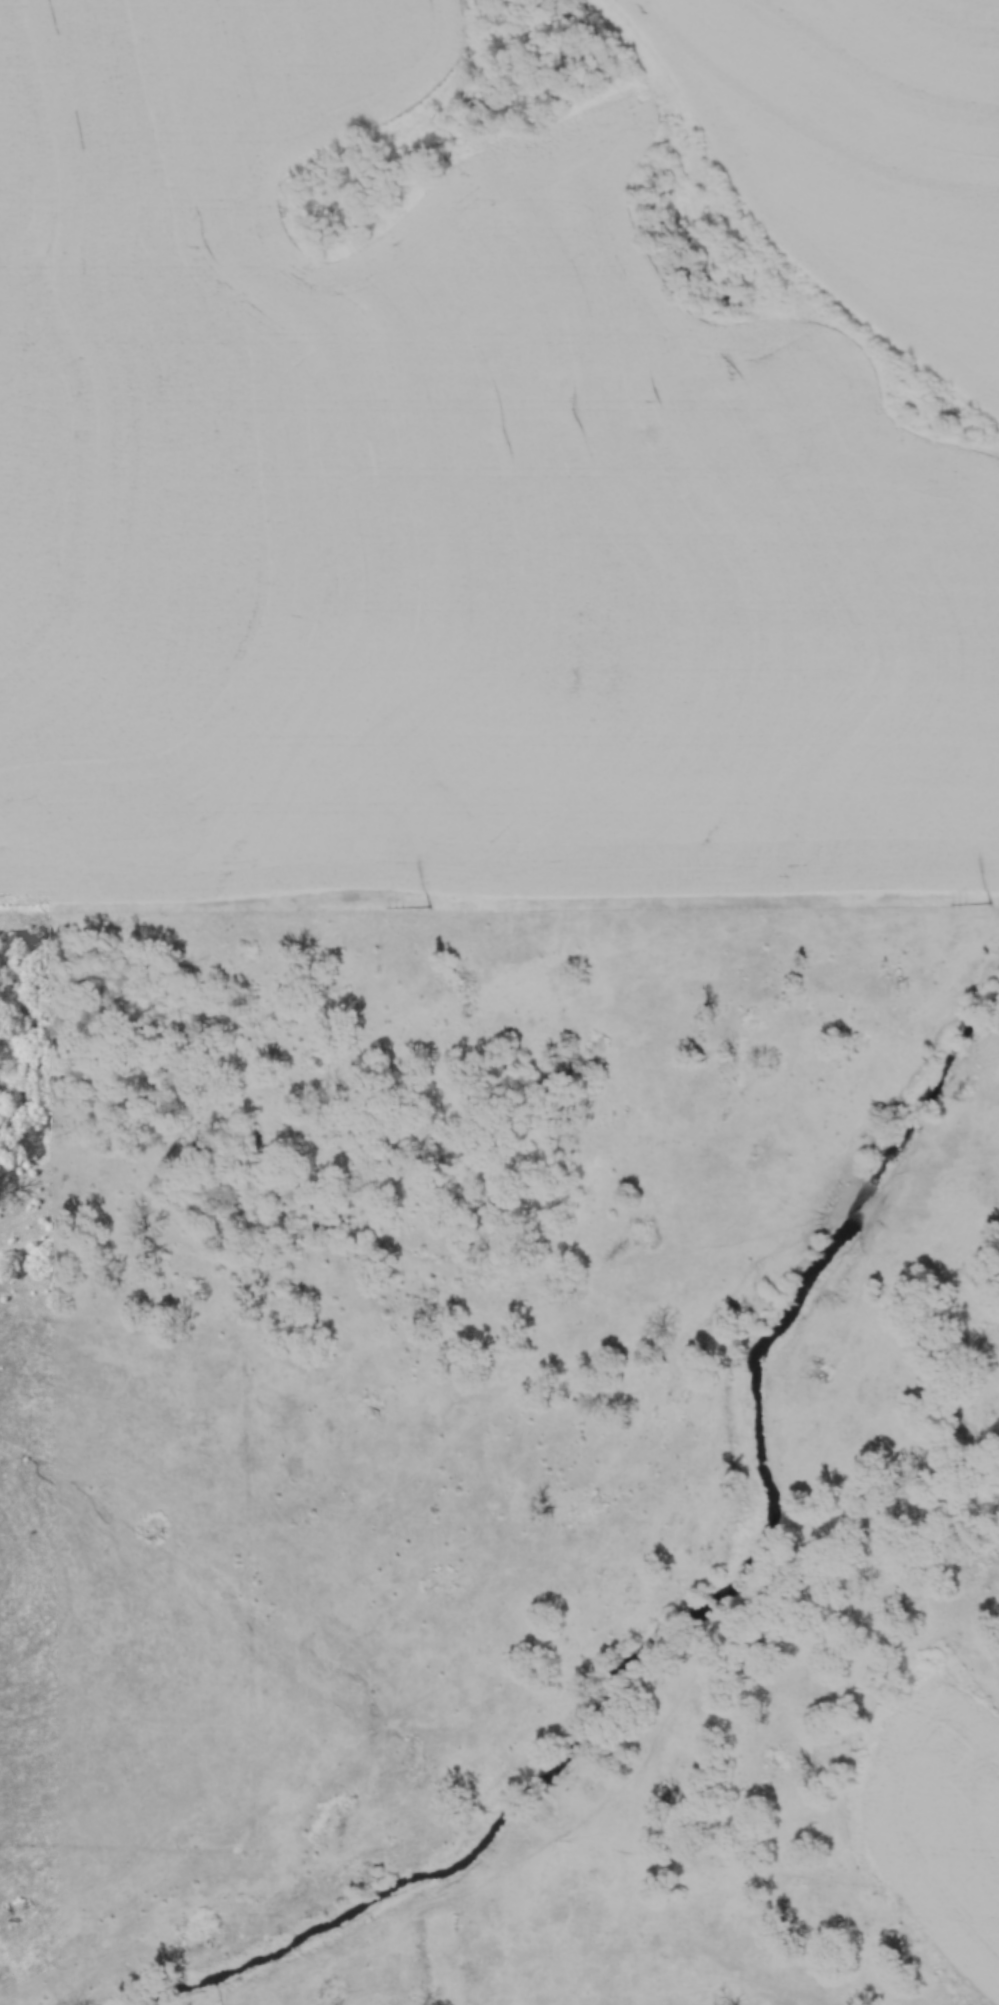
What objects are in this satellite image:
power tower: (985, 897)
power tower: (425, 904)

